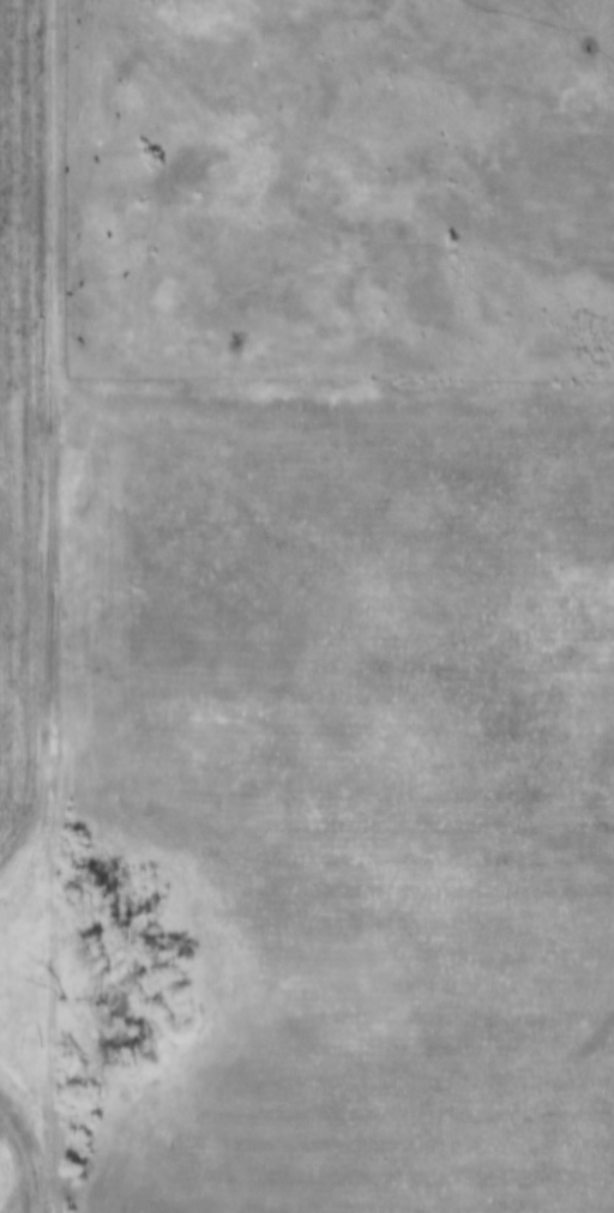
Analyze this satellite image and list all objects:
road: (56, 467)
road: (48, 1130)

